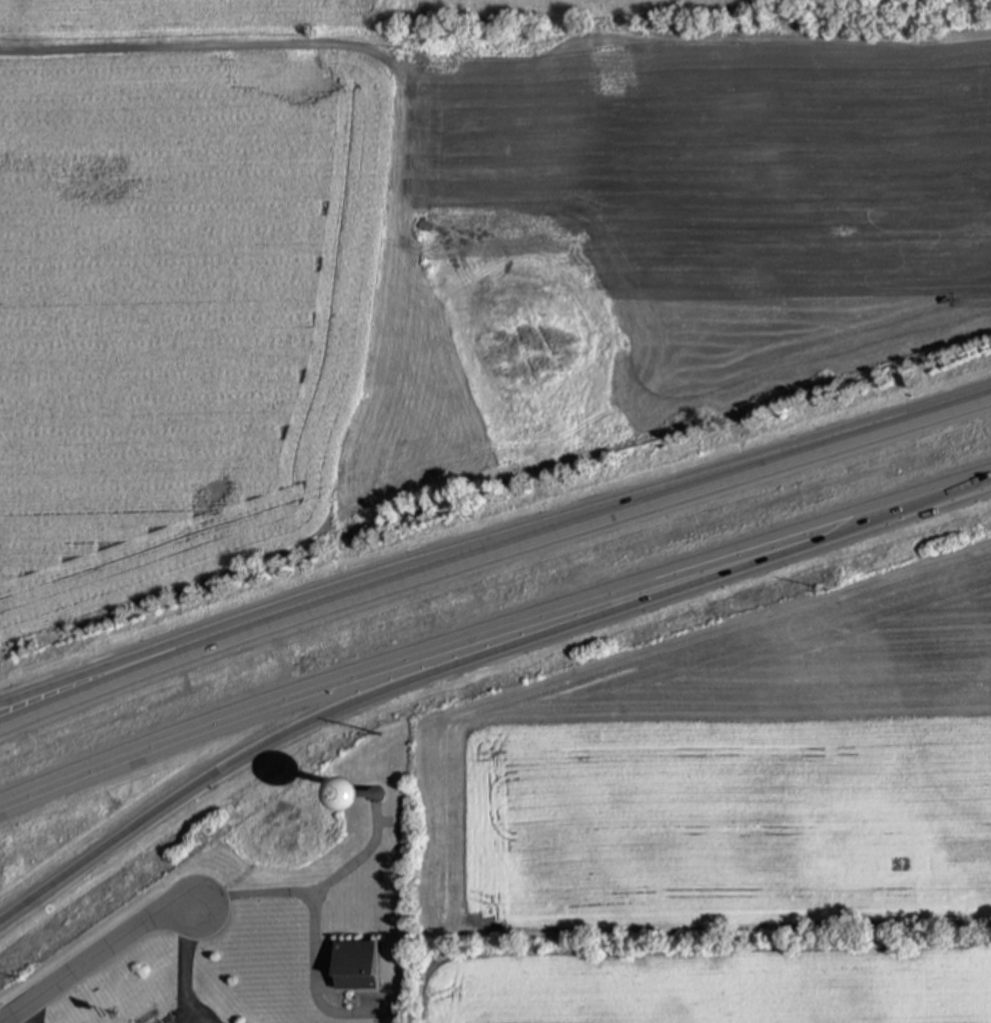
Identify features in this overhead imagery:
road: (321, 47)
road: (491, 553)
road: (491, 640)
road: (235, 769)
building: (341, 795)
water tower: (376, 801)
road: (305, 898)
road: (97, 954)
building: (356, 966)

